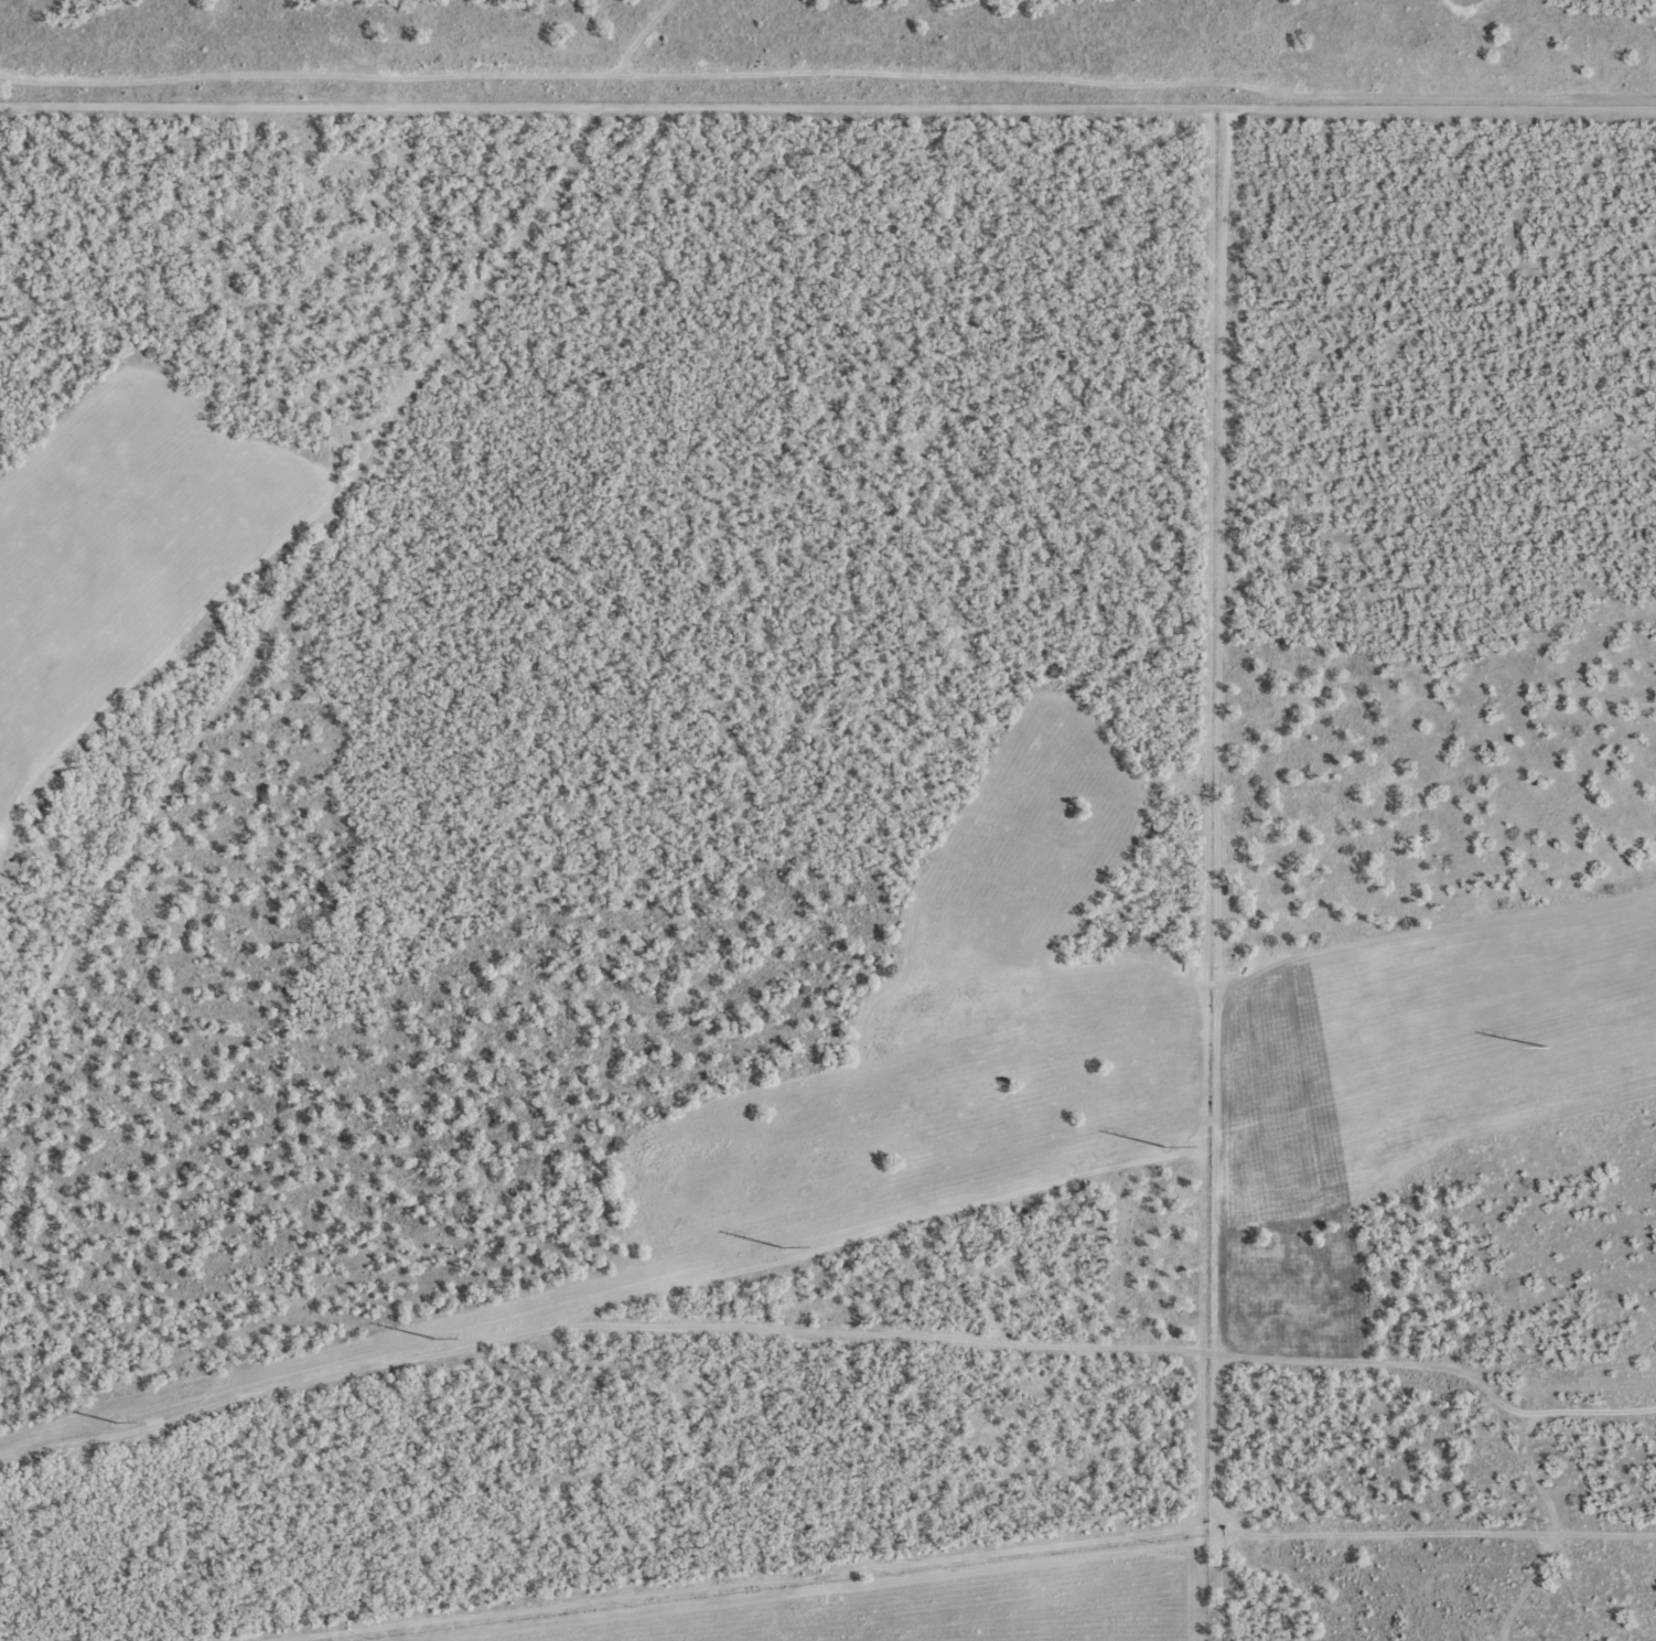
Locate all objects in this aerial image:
road: (476, 538)
power tower: (1544, 1045)
power tower: (1161, 1146)
power tower: (778, 1246)
power tower: (431, 1338)
power tower: (111, 1422)

